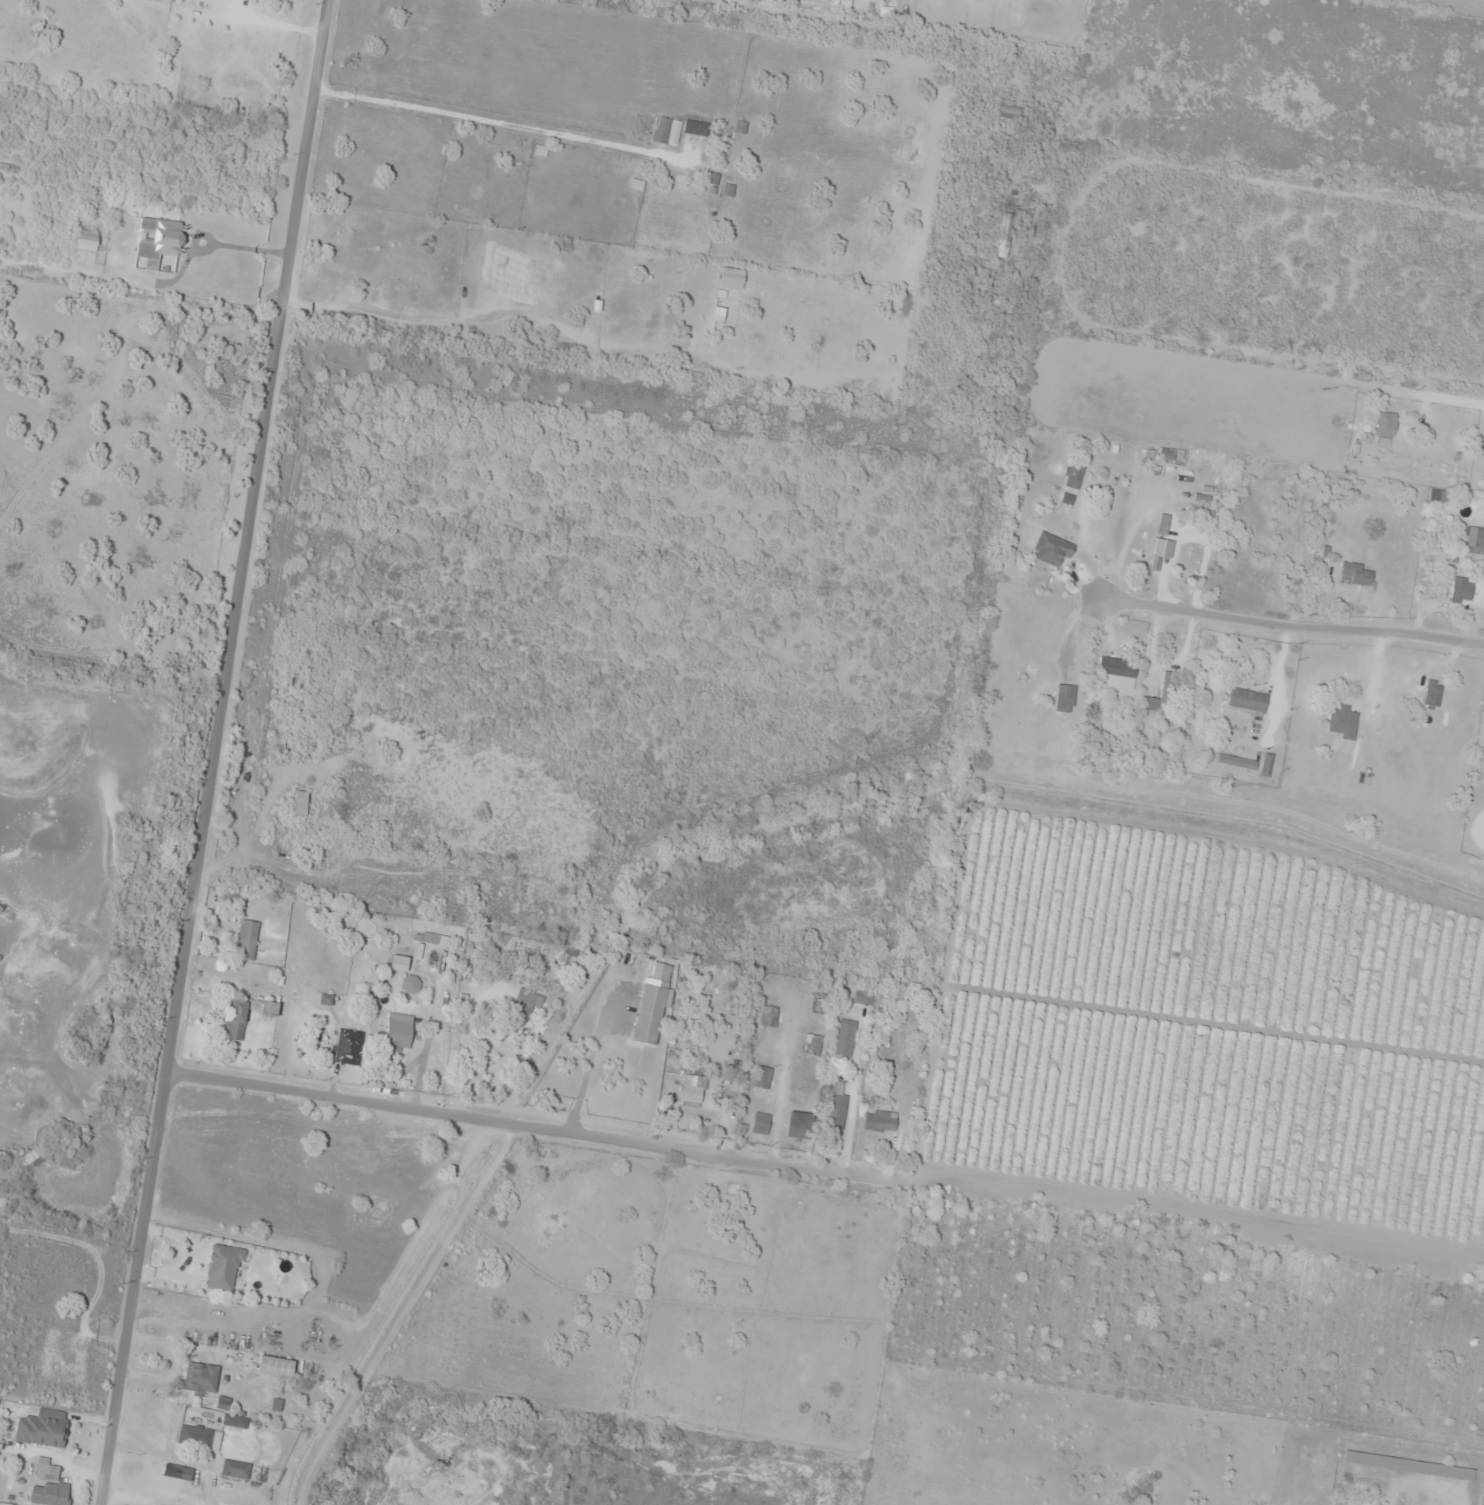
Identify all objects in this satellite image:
building: (1009, 113)
building: (696, 126)
building: (670, 129)
road: (1007, 134)
building: (787, 171)
building: (685, 177)
building: (1006, 236)
building: (159, 240)
building: (382, 297)
road: (1374, 386)
building: (1385, 429)
building: (1167, 456)
building: (1073, 475)
building: (1437, 495)
building: (1162, 524)
building: (1469, 536)
building: (1051, 549)
building: (1355, 574)
building: (1227, 585)
building: (1461, 590)
road: (1293, 627)
building: (1118, 673)
building: (1432, 693)
building: (1163, 697)
building: (1065, 698)
building: (1247, 699)
building: (1343, 723)
road: (212, 752)
building: (300, 804)
river: (12, 860)
building: (235, 898)
building: (431, 939)
building: (247, 940)
building: (476, 948)
building: (399, 963)
building: (410, 984)
building: (530, 998)
building: (269, 1013)
building: (649, 1014)
building: (769, 1018)
building: (236, 1020)
building: (399, 1030)
building: (845, 1039)
building: (813, 1045)
building: (348, 1047)
building: (762, 1077)
building: (691, 1098)
building: (836, 1106)
building: (879, 1123)
building: (761, 1124)
building: (799, 1125)
road: (535, 1130)
building: (34, 1157)
building: (223, 1268)
building: (276, 1366)
building: (200, 1378)
building: (235, 1421)
building: (43, 1428)
building: (199, 1437)
building: (1407, 1466)
building: (235, 1469)
building: (173, 1480)
building: (48, 1485)

